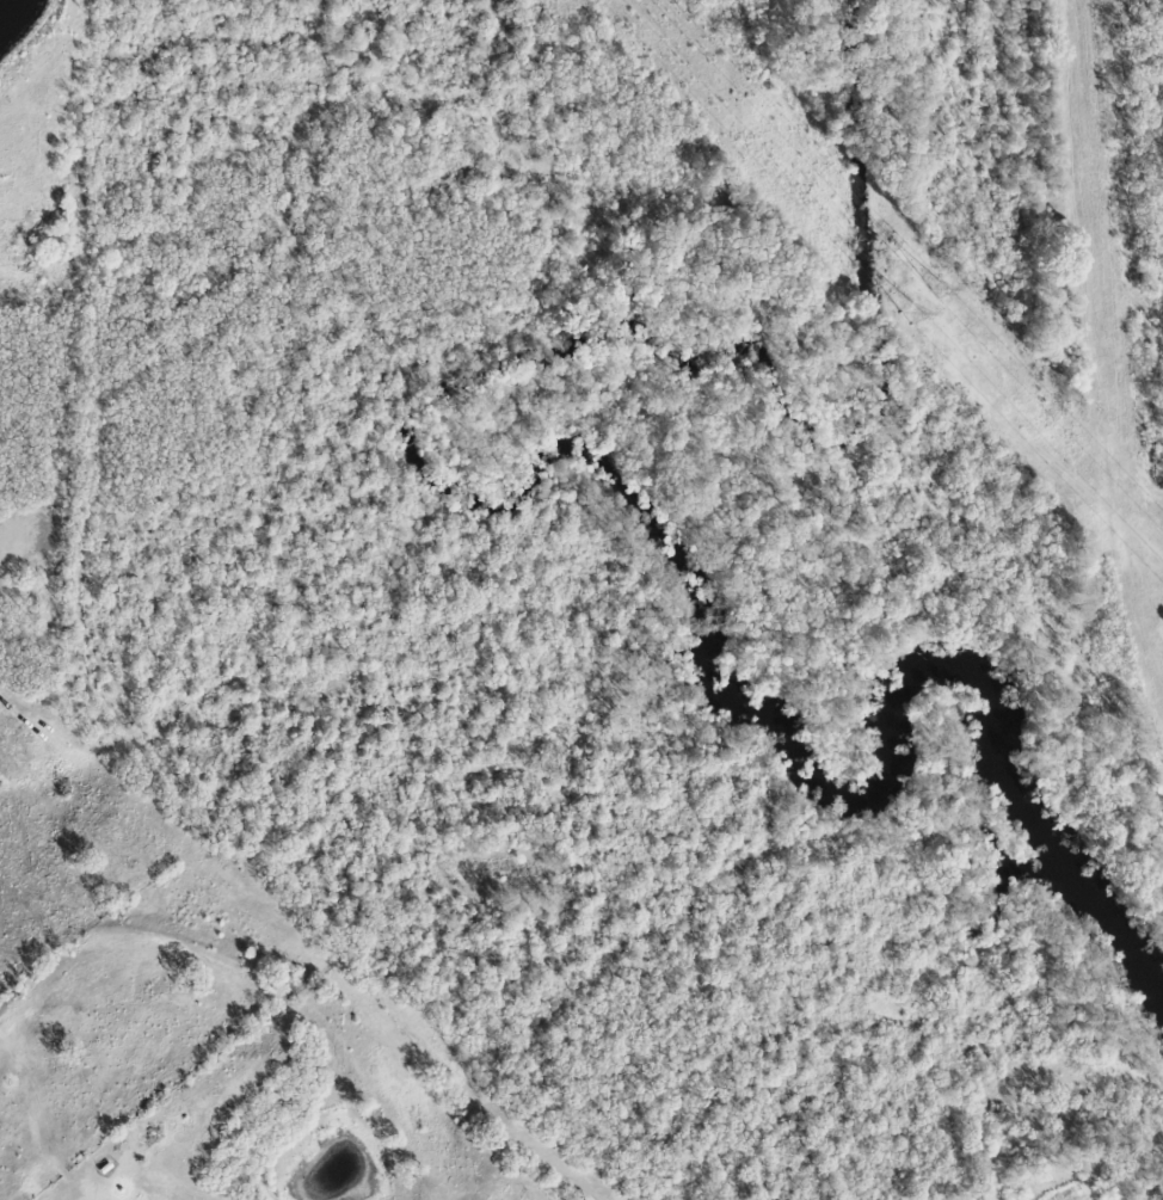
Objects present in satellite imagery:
power tower: (944, 287)
power tower: (922, 309)

